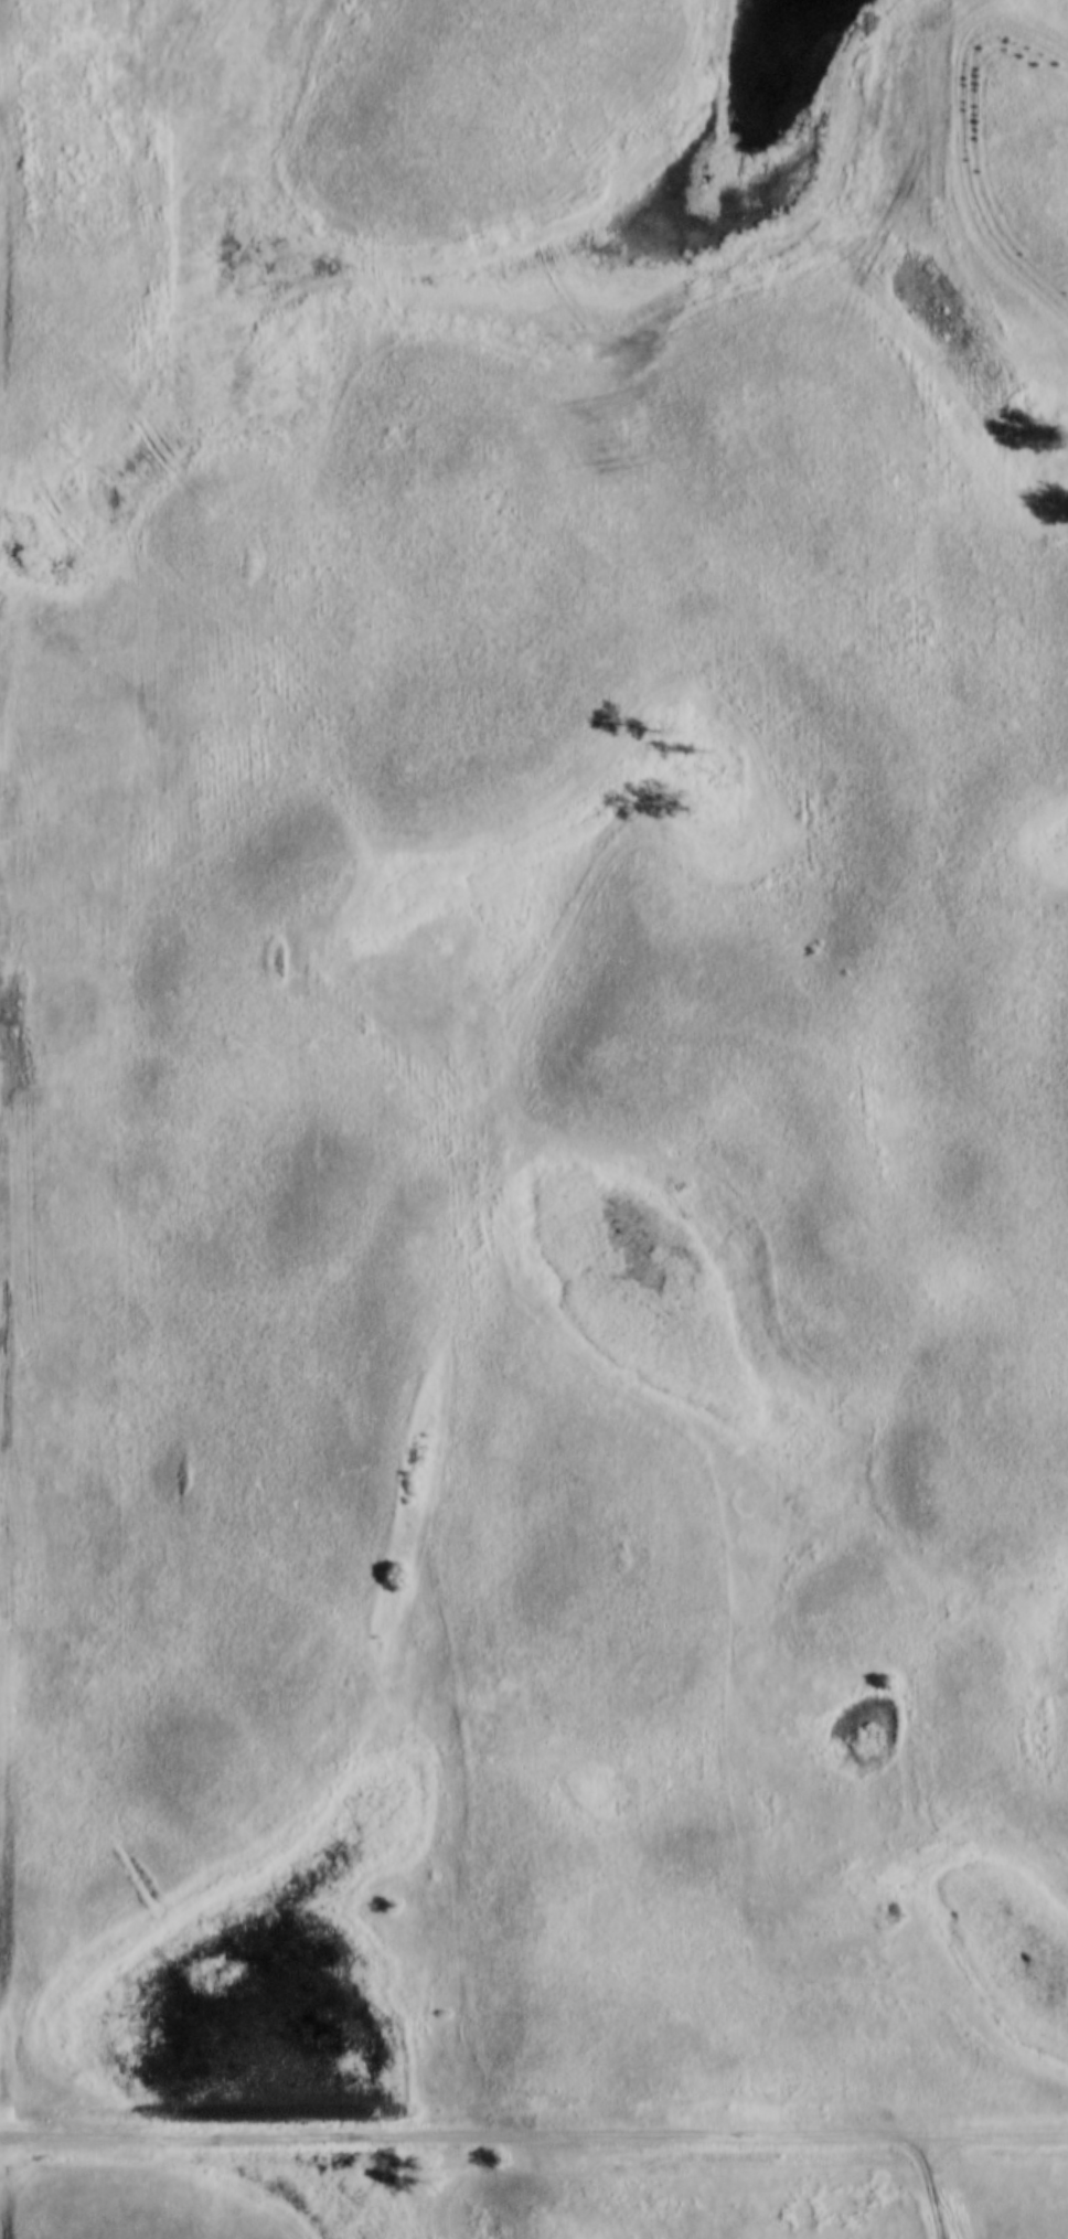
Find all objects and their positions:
road: (533, 2140)
road: (927, 2187)

